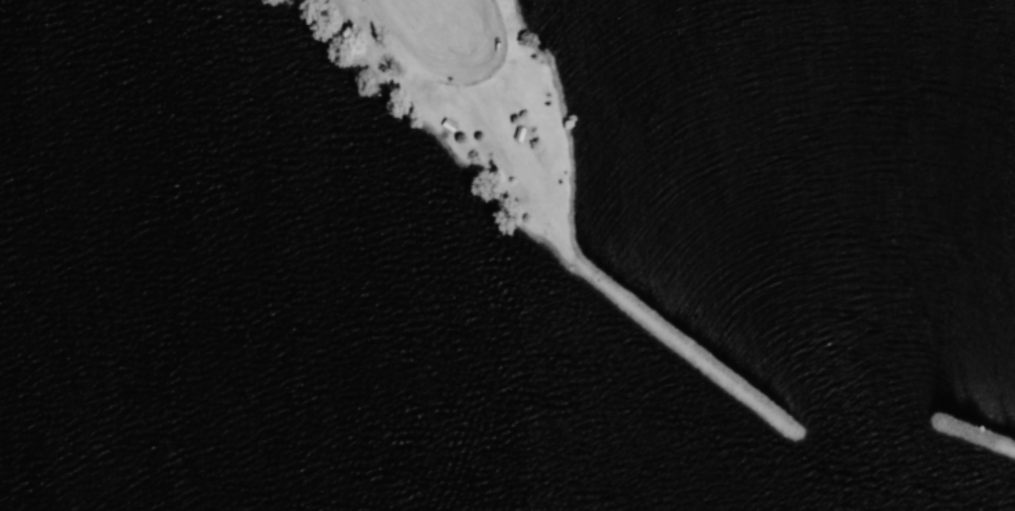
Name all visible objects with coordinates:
road: (421, 12)
park: (507, 255)

